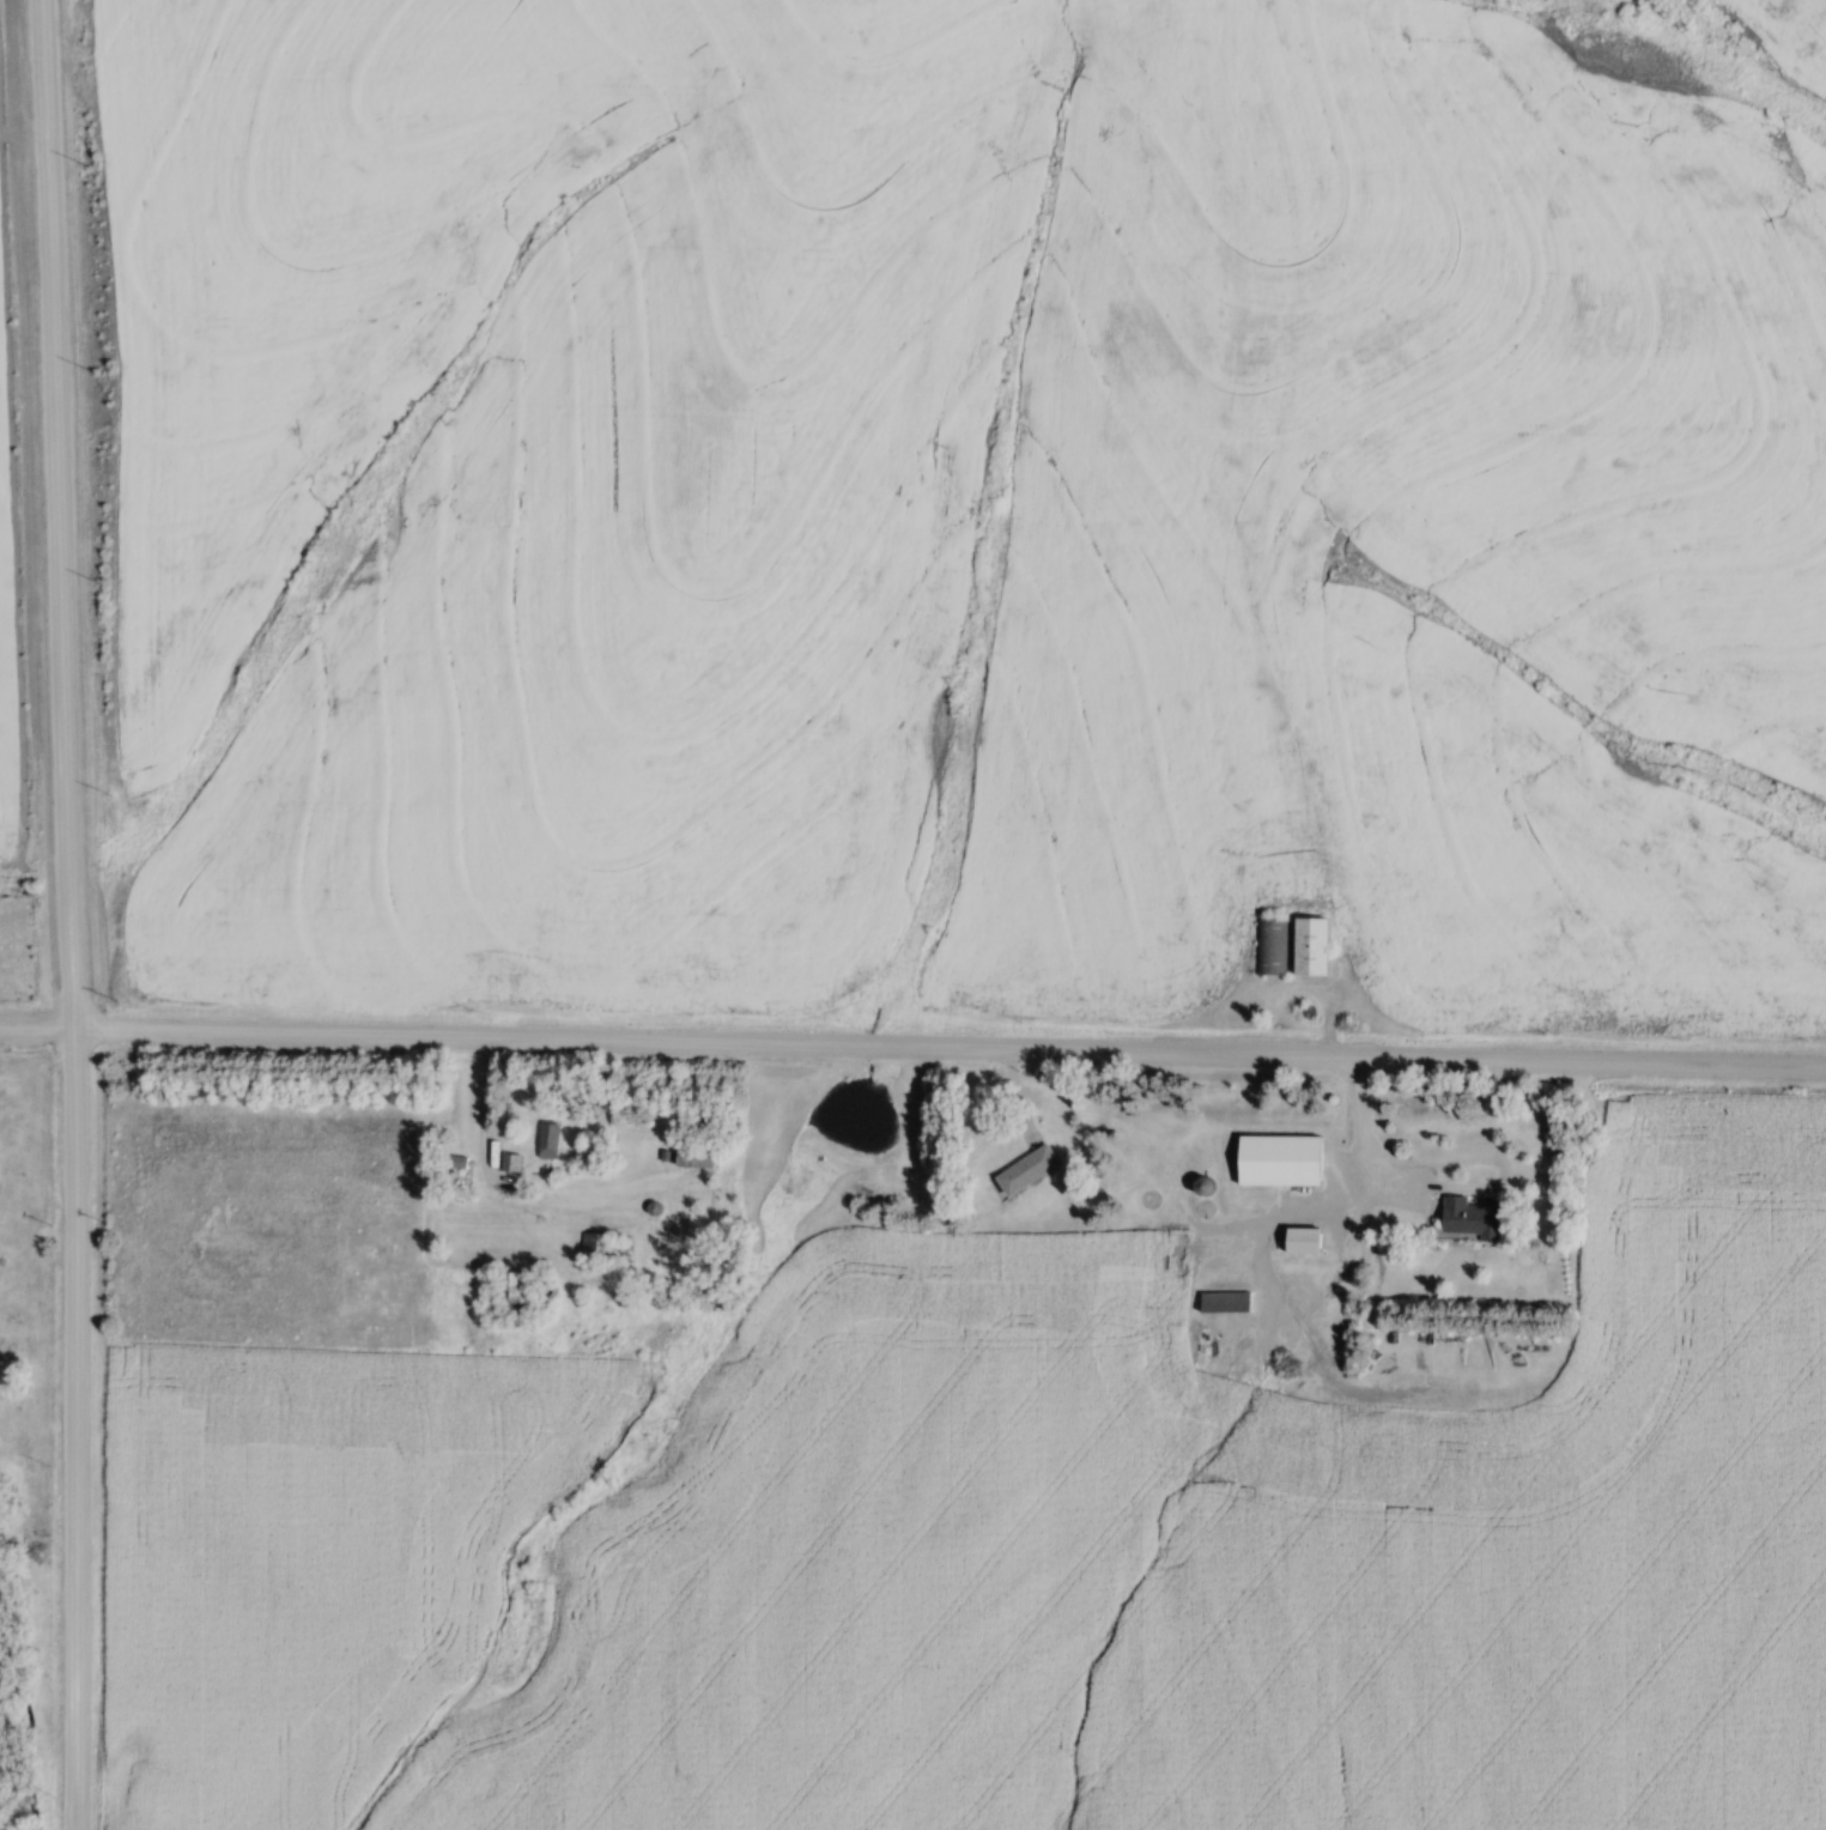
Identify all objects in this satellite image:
road: (73, 914)
building: (1270, 946)
building: (1310, 946)
road: (912, 1047)
building: (547, 1140)
building: (692, 1155)
building: (1278, 1161)
building: (510, 1162)
building: (1024, 1171)
road: (1450, 1188)
building: (1469, 1217)
building: (1300, 1240)
building: (594, 1246)
building: (516, 1292)
building: (1223, 1302)

